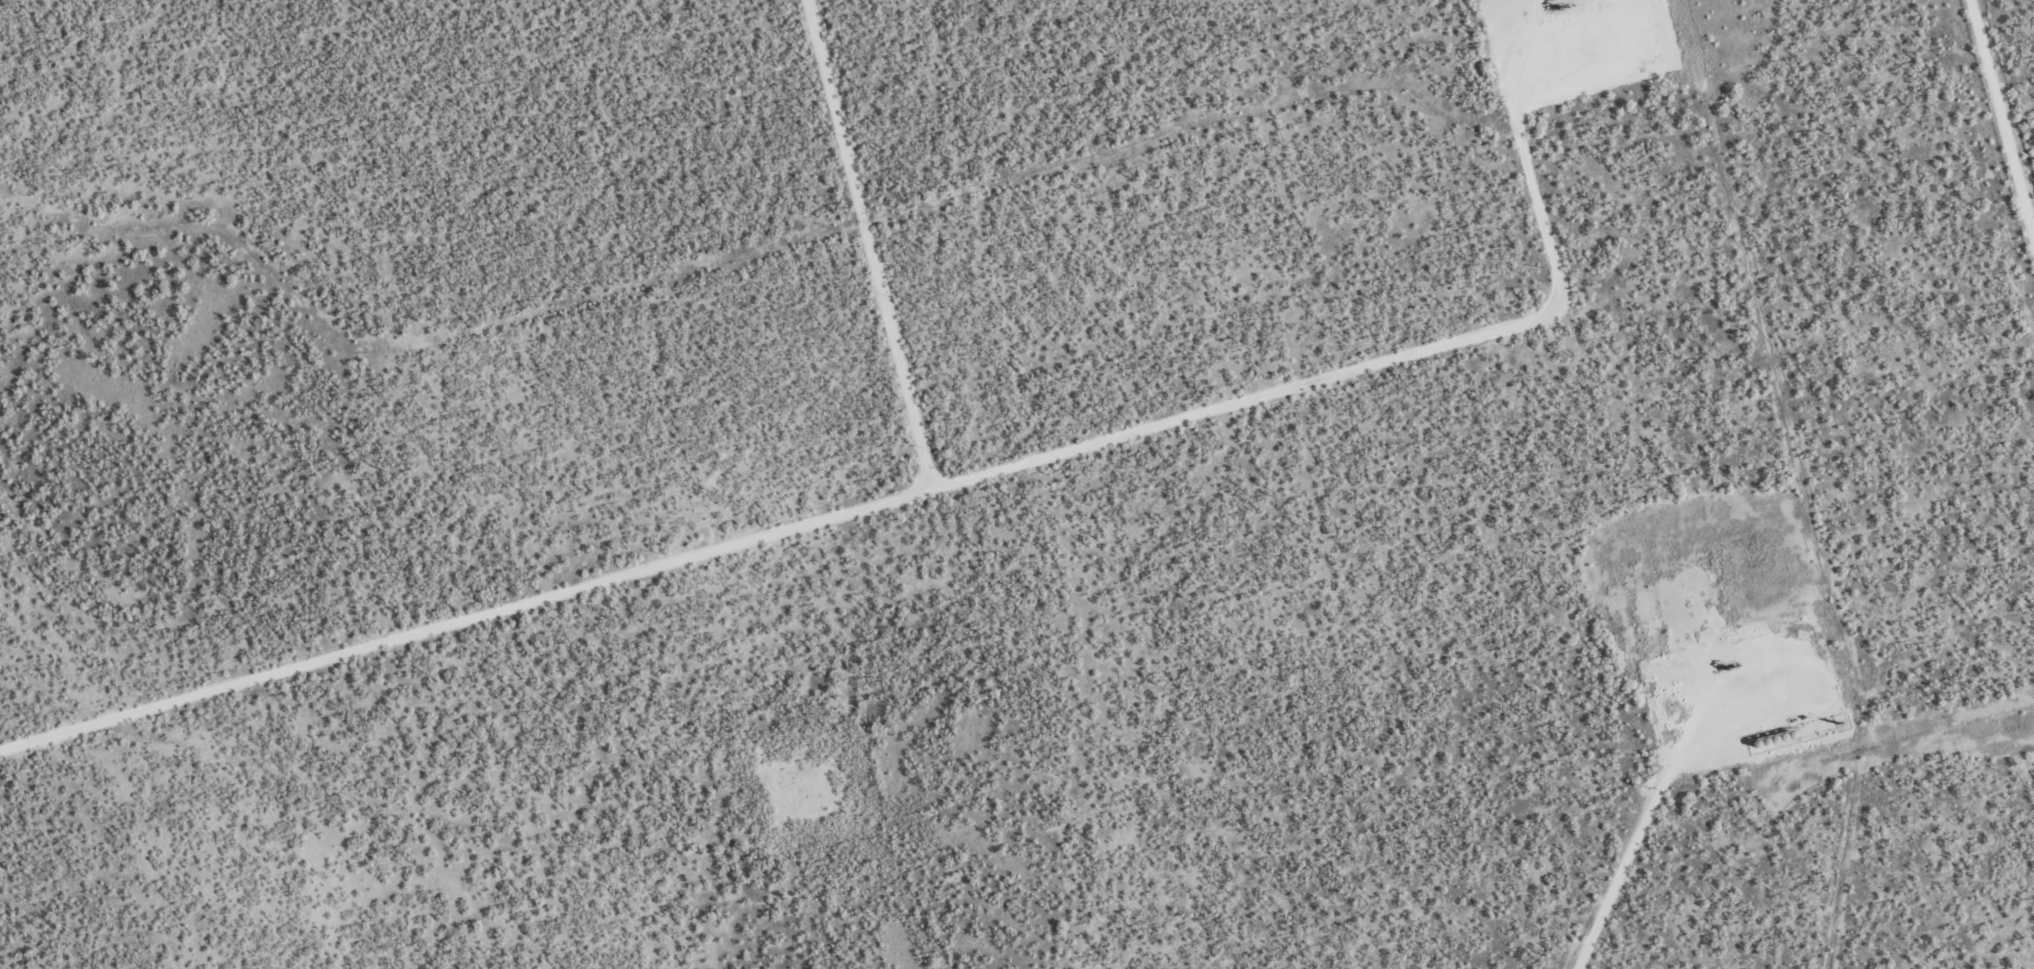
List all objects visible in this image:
road: (2002, 118)

